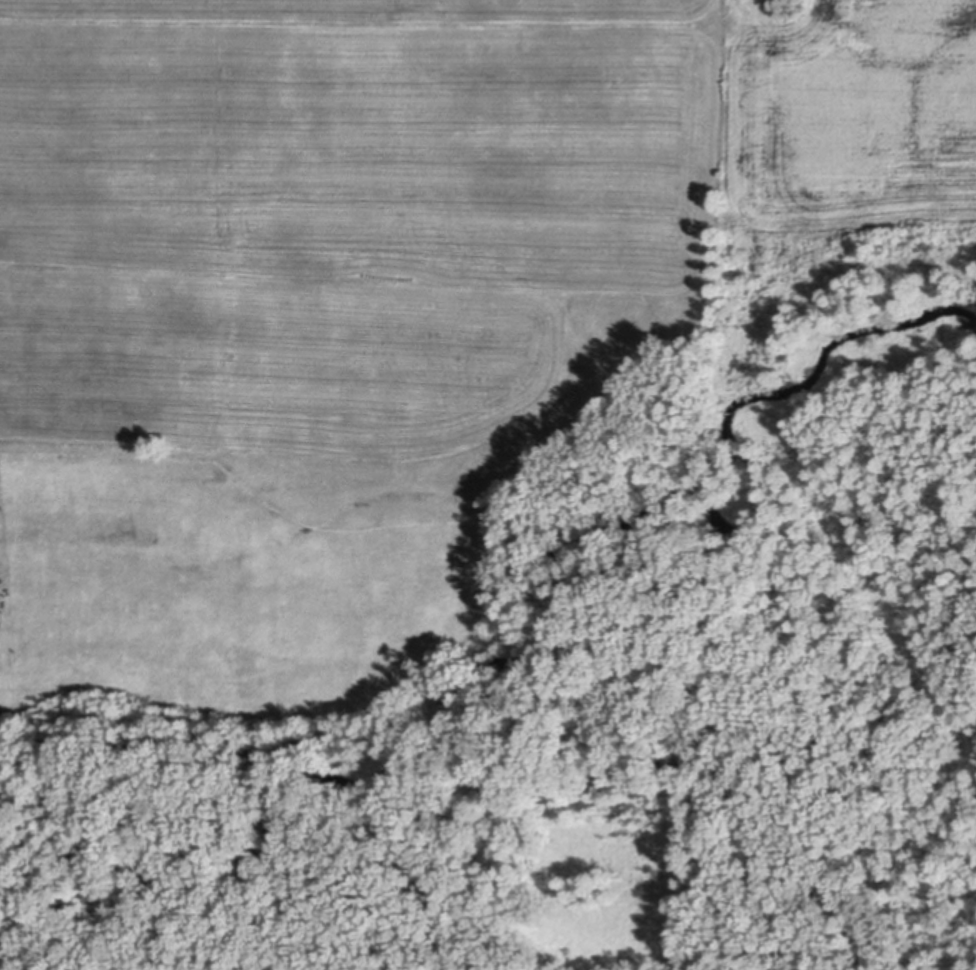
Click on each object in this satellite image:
river: (525, 659)

